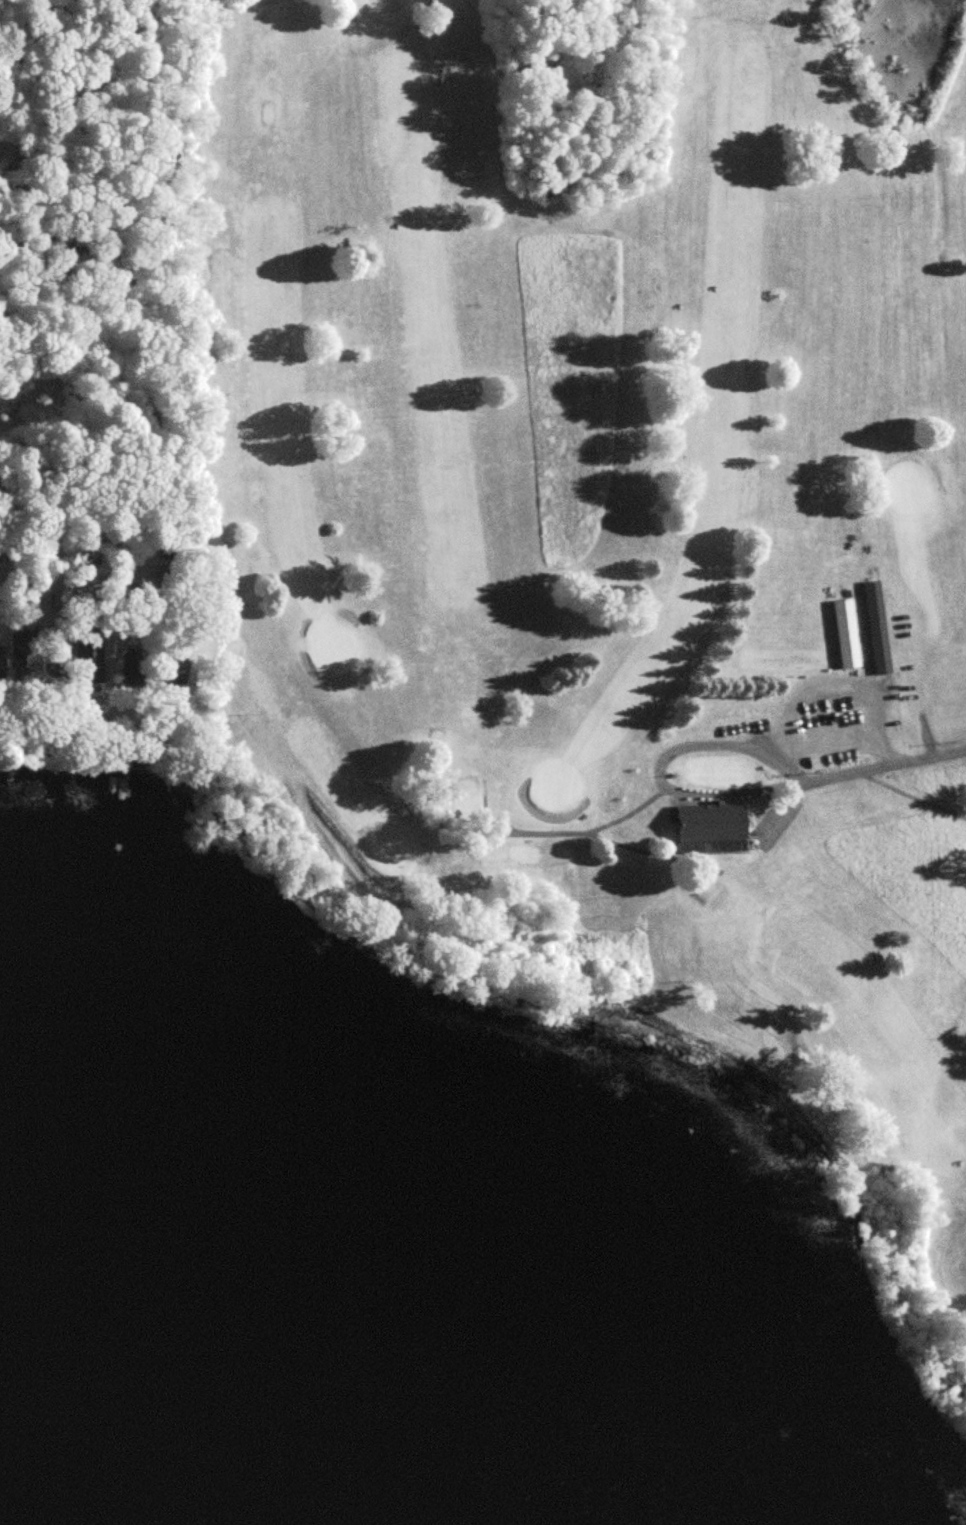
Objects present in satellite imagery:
park: (617, 520)
road: (67, 572)
building: (876, 628)
building: (845, 634)
building: (20, 657)
parking lot: (833, 722)
road: (887, 761)
road: (656, 766)
building: (714, 820)

